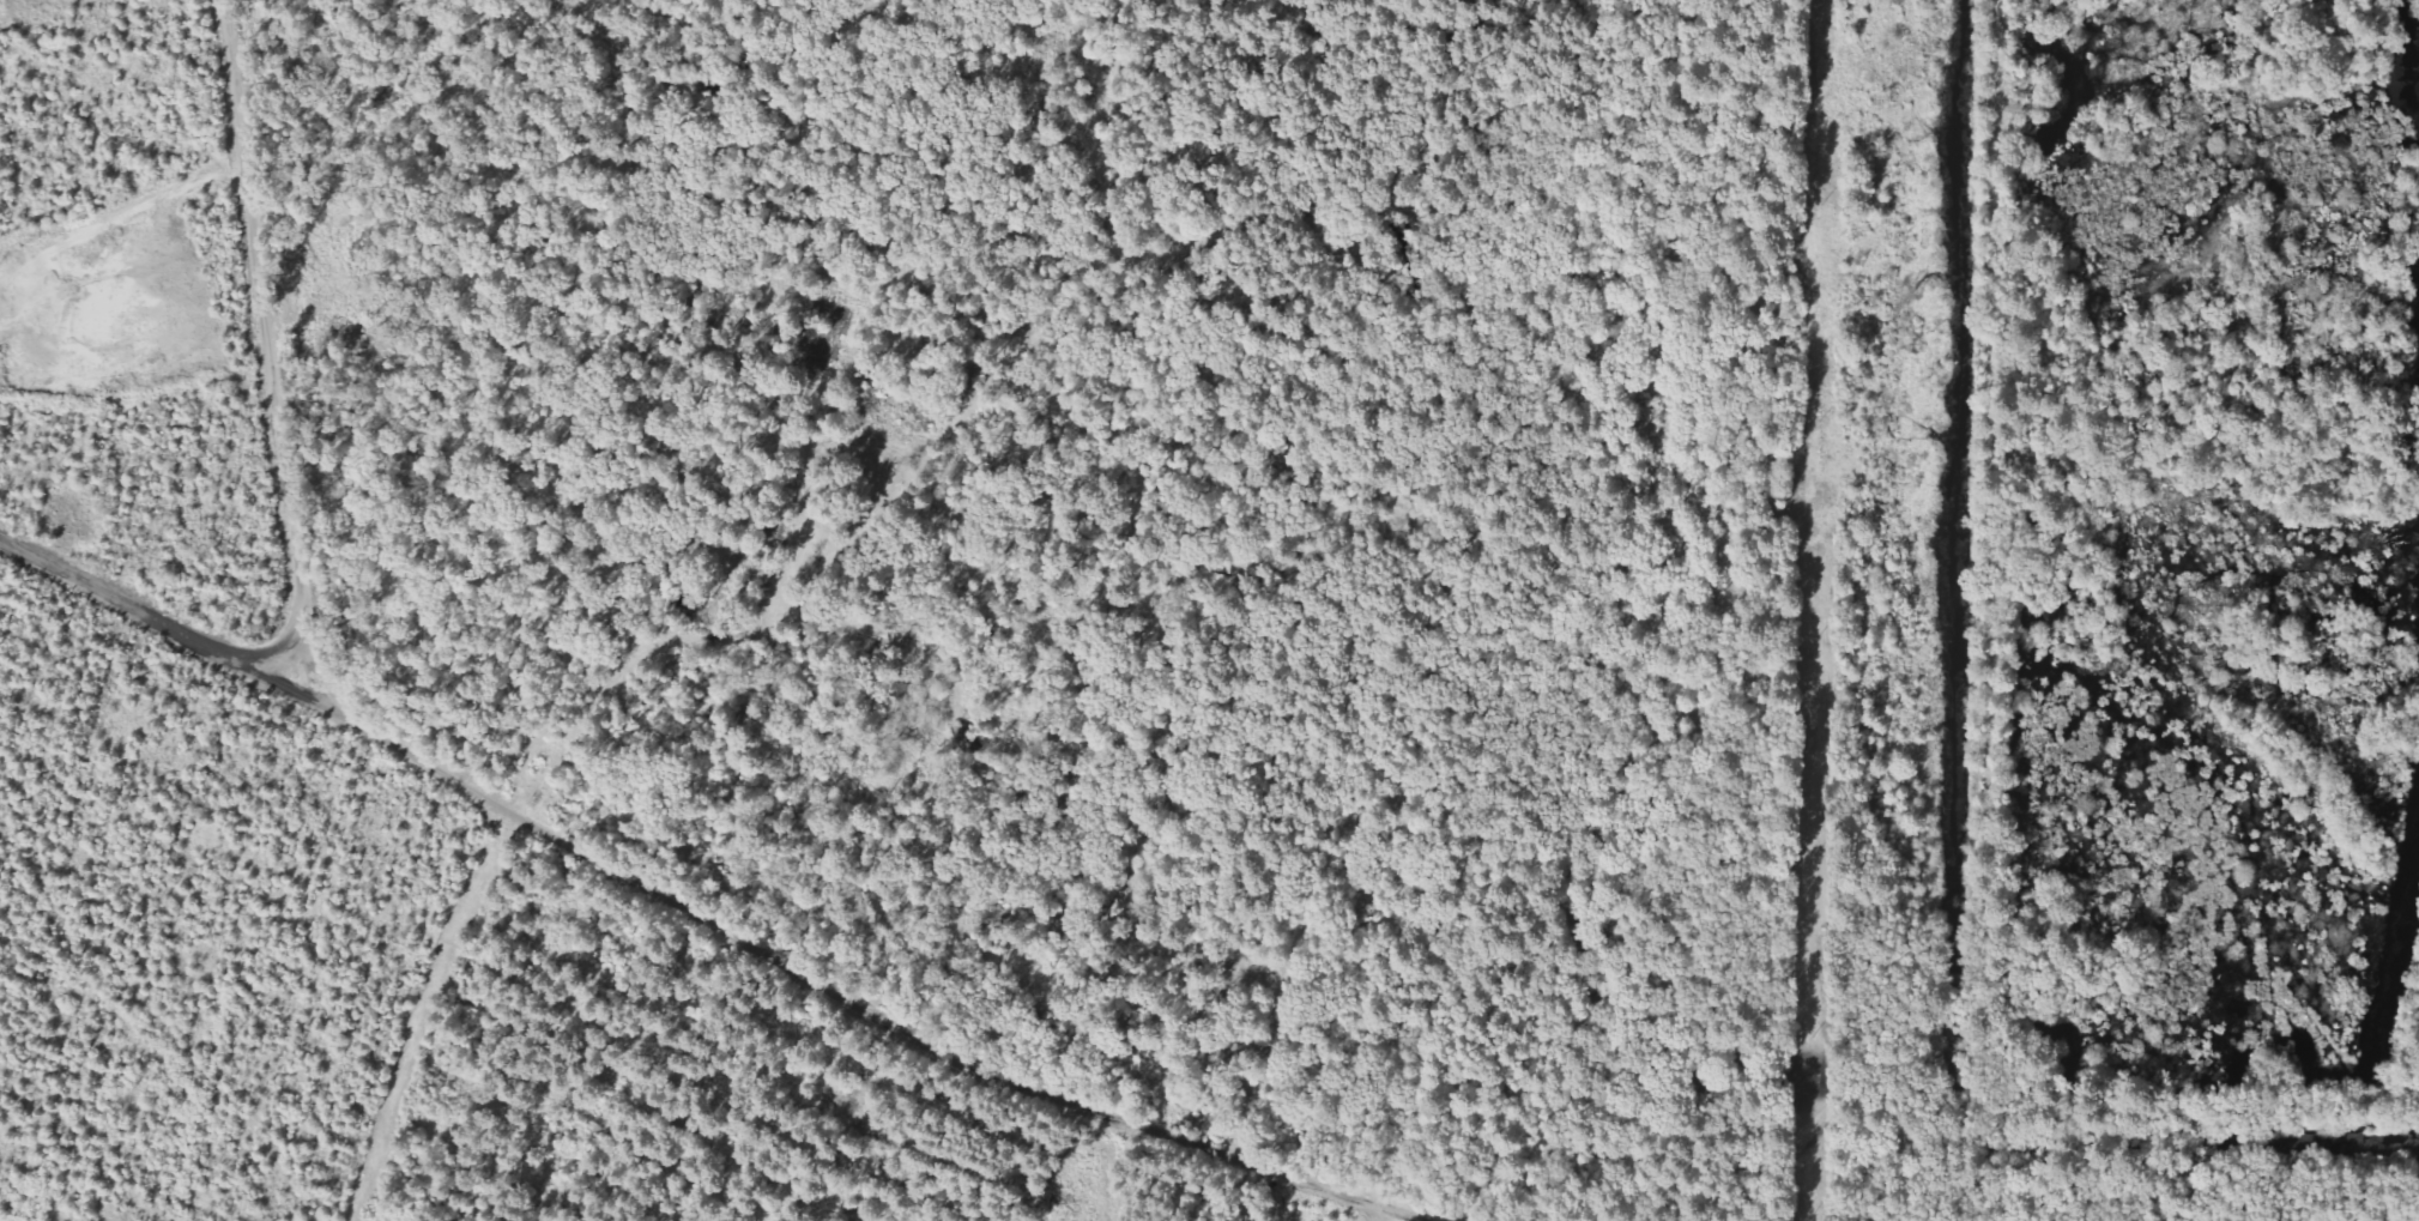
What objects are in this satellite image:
road: (285, 486)
road: (817, 989)

